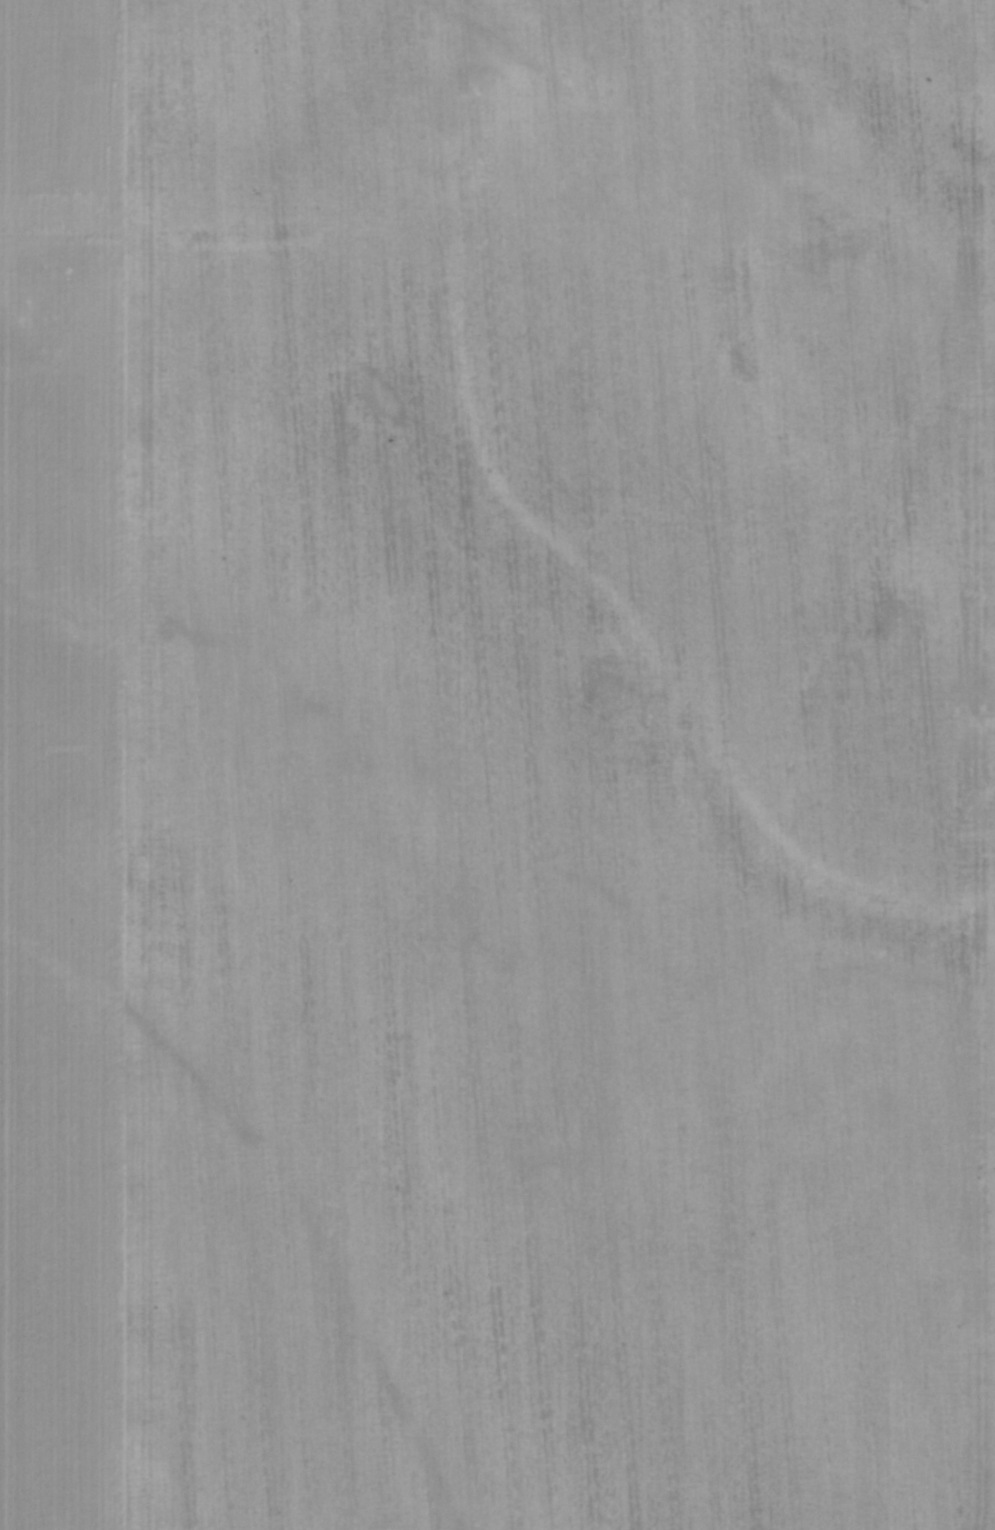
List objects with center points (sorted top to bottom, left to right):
crop: (497, 765)

